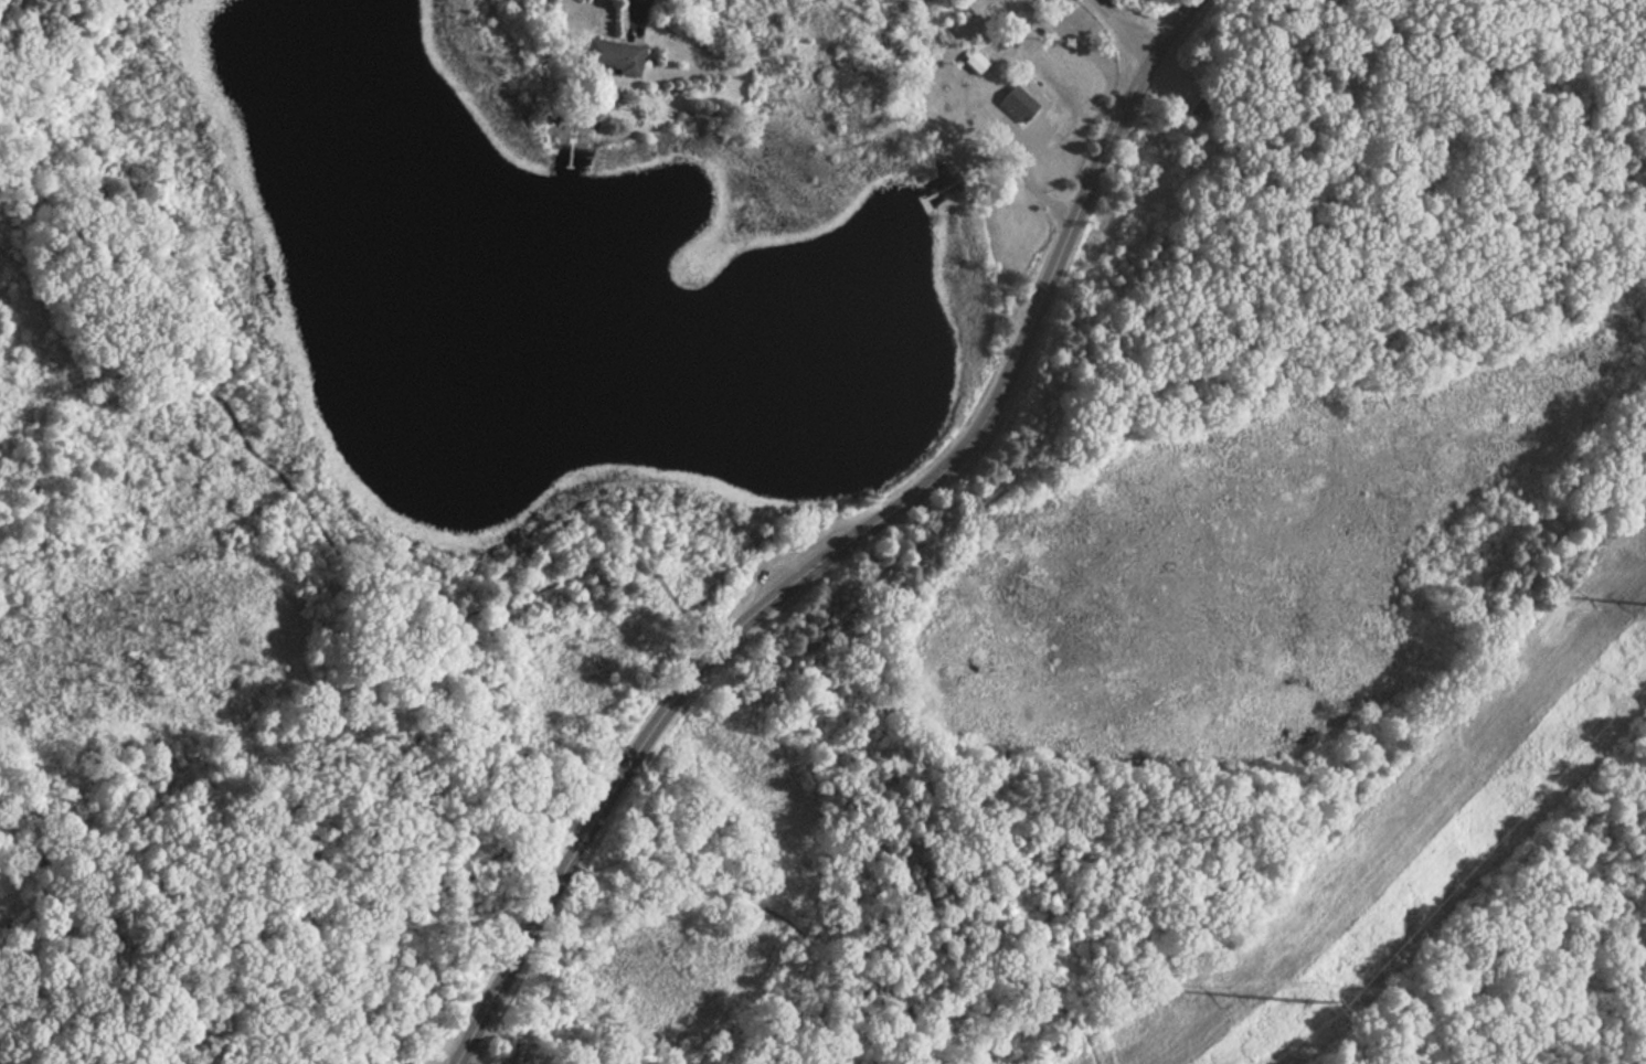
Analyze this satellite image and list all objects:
road: (1128, 28)
building: (610, 55)
road: (1637, 157)
road: (105, 269)
road: (1139, 383)
road: (267, 464)
road: (843, 534)
park: (820, 564)
road: (667, 592)
road: (516, 596)
road: (553, 851)
road: (355, 858)
road: (782, 918)
road: (837, 989)
road: (1349, 990)
power tower: (1310, 1003)

